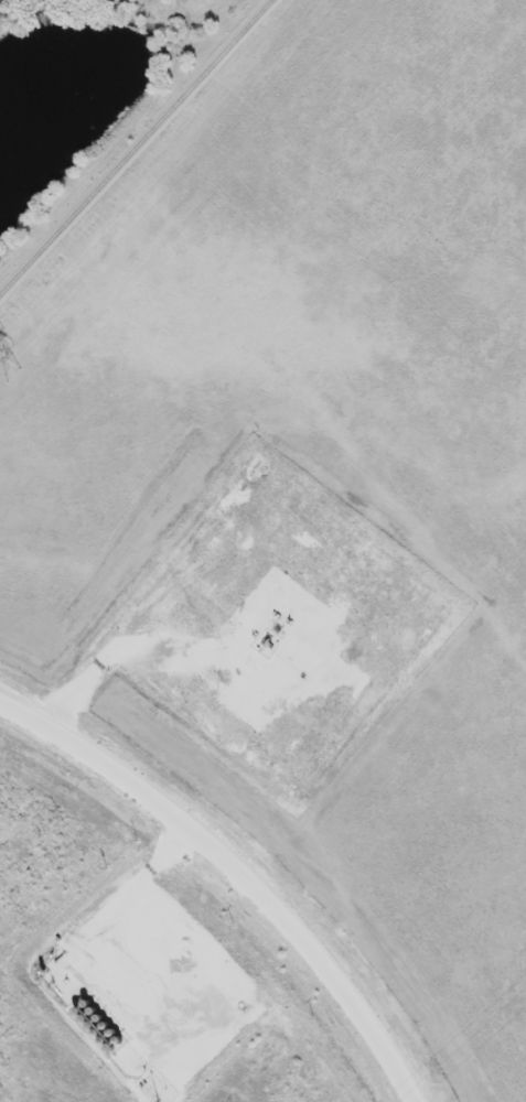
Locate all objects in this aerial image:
railway: (138, 149)
power tower: (3, 370)
road: (87, 678)
road: (233, 874)
road: (144, 879)

